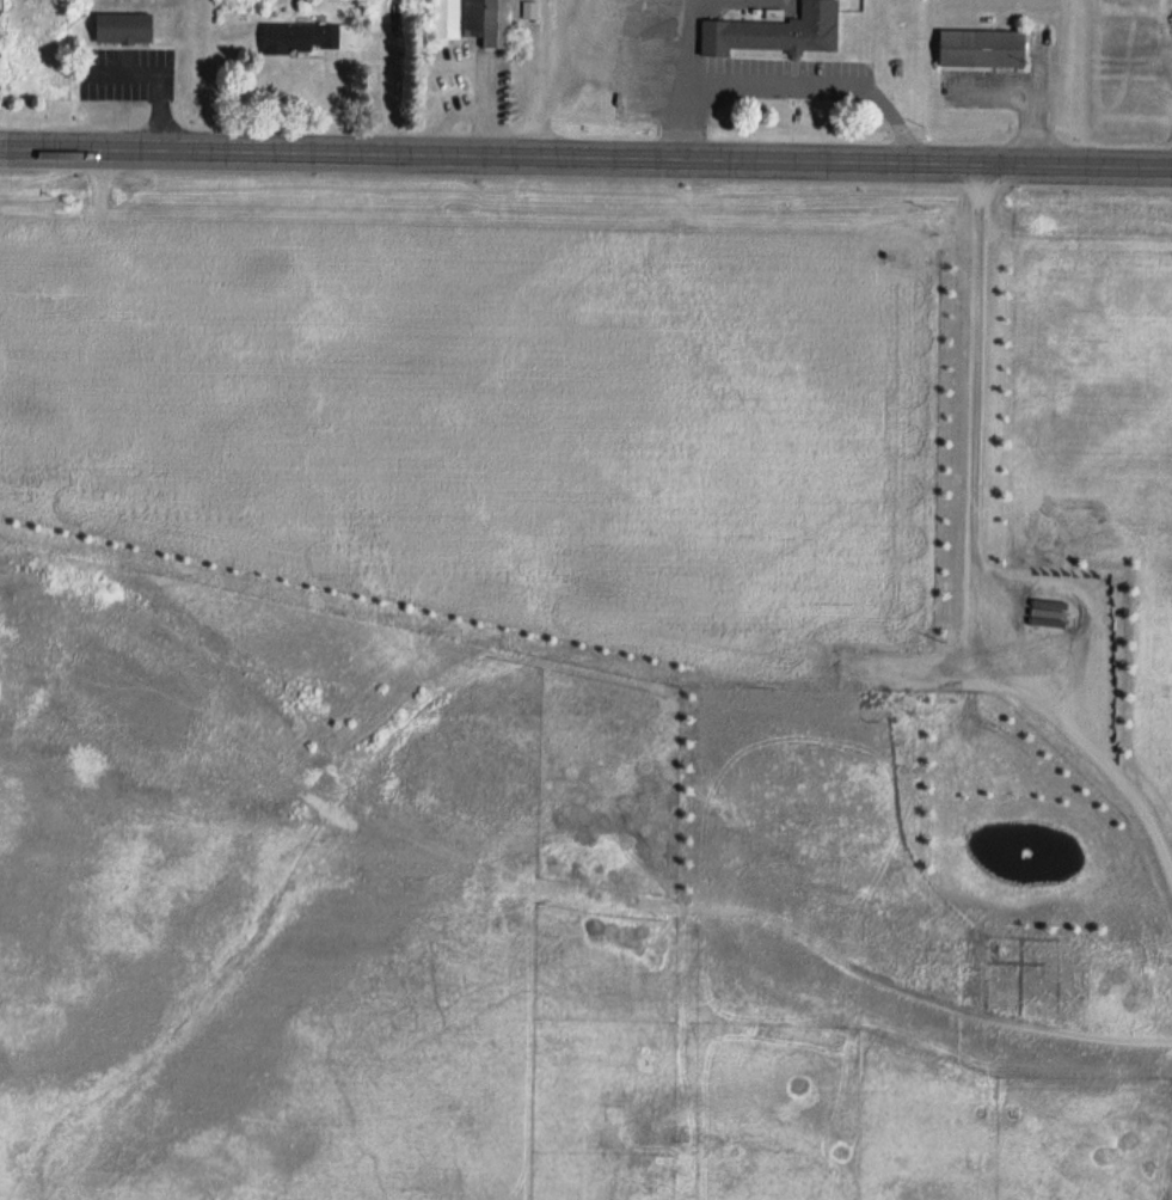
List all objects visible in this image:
building: (530, 11)
building: (447, 19)
building: (765, 20)
building: (489, 23)
building: (124, 29)
building: (977, 33)
building: (308, 38)
road: (149, 147)
road: (736, 155)

